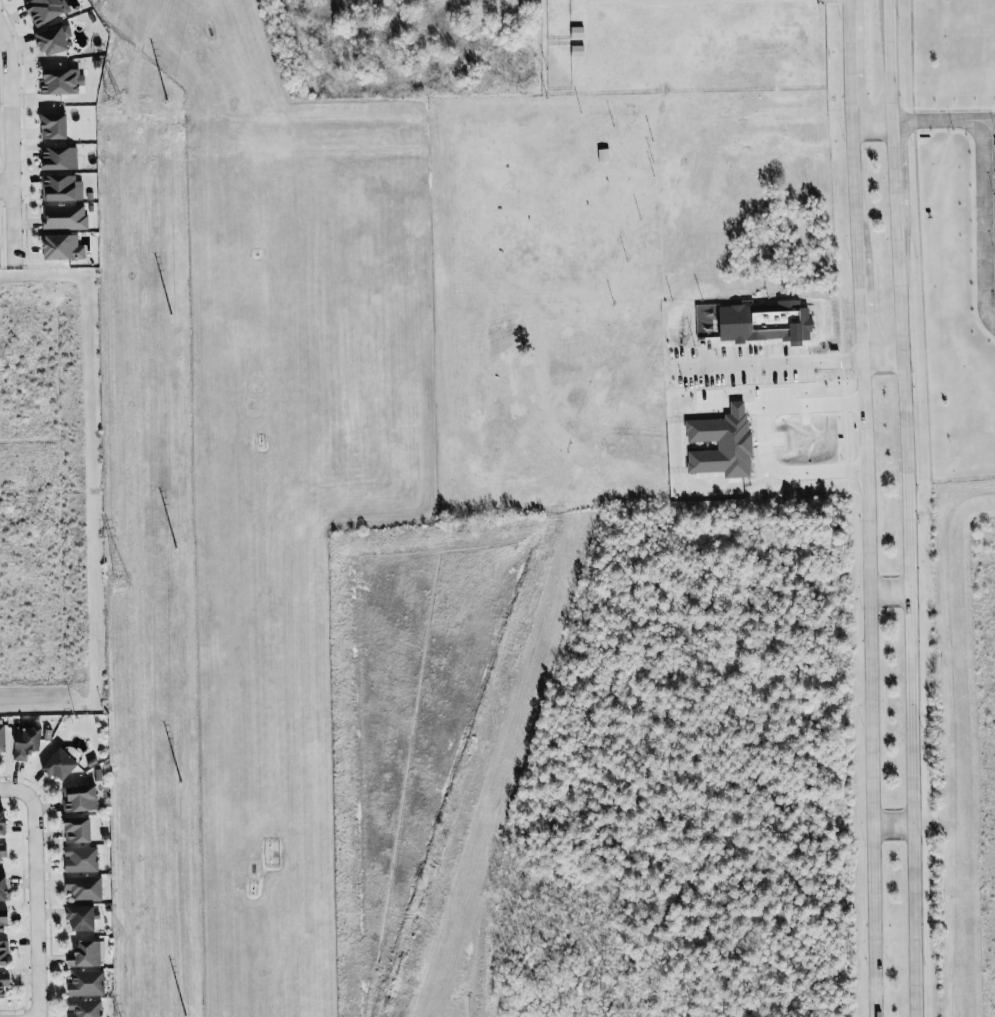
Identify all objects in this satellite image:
road: (660, 2)
road: (849, 3)
building: (44, 10)
building: (53, 39)
road: (889, 59)
road: (850, 63)
building: (59, 81)
power tower: (109, 95)
road: (976, 115)
road: (923, 116)
road: (871, 118)
building: (54, 126)
building: (60, 158)
road: (11, 164)
road: (891, 173)
road: (854, 181)
road: (6, 185)
building: (61, 188)
road: (982, 216)
building: (64, 217)
building: (63, 247)
road: (859, 300)
building: (765, 322)
road: (879, 353)
road: (779, 365)
power tower: (118, 572)
road: (884, 593)
road: (900, 623)
road: (869, 686)
building: (1, 736)
building: (26, 740)
building: (59, 763)
road: (17, 788)
building: (80, 797)
building: (3, 820)
road: (887, 824)
building: (78, 828)
building: (3, 850)
building: (80, 858)
building: (3, 887)
building: (84, 887)
road: (33, 908)
building: (81, 917)
building: (4, 919)
building: (4, 951)
building: (84, 953)
building: (4, 982)
building: (86, 982)
building: (84, 1008)

